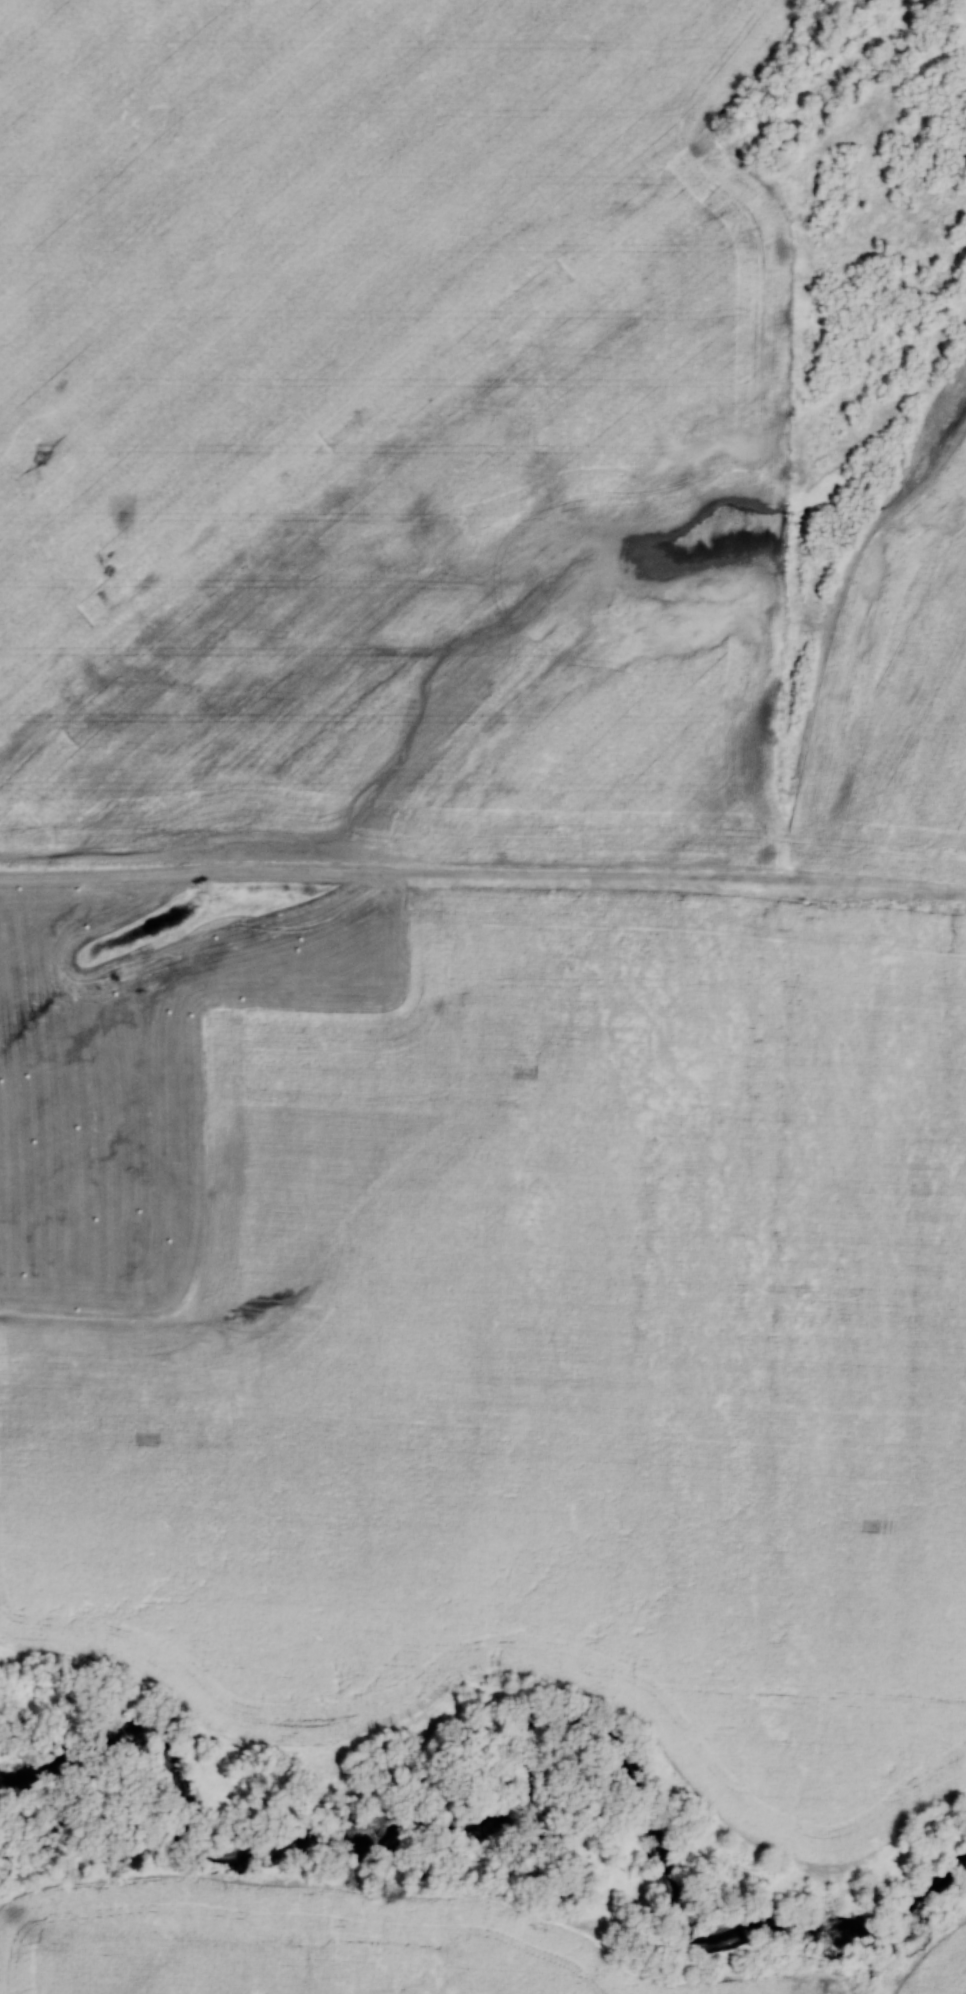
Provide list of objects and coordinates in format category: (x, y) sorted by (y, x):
river: (518, 1813)

